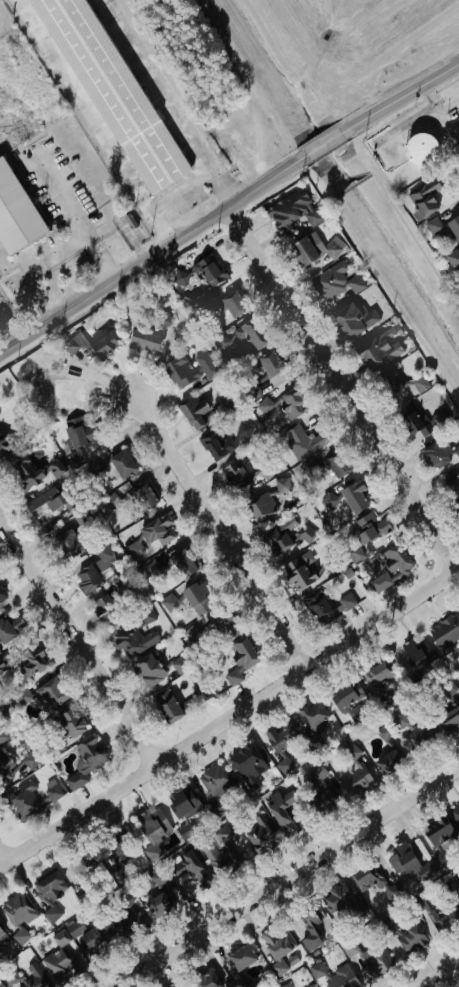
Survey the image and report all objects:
building: (115, 91)
road: (405, 94)
road: (163, 103)
road: (95, 122)
road: (322, 144)
building: (419, 149)
road: (178, 191)
building: (423, 197)
building: (292, 211)
building: (15, 213)
road: (82, 217)
building: (444, 228)
building: (301, 251)
building: (453, 258)
road: (147, 261)
building: (209, 271)
building: (335, 281)
building: (231, 304)
building: (353, 319)
building: (251, 335)
building: (145, 341)
building: (91, 344)
building: (376, 351)
building: (270, 362)
building: (205, 365)
building: (179, 371)
building: (388, 382)
building: (418, 383)
building: (70, 392)
road: (340, 392)
building: (291, 403)
building: (263, 406)
building: (193, 410)
building: (439, 418)
building: (414, 423)
building: (78, 435)
building: (302, 440)
building: (214, 445)
building: (4, 446)
building: (438, 454)
building: (122, 464)
building: (337, 464)
building: (306, 466)
building: (55, 468)
building: (26, 474)
building: (235, 475)
building: (452, 489)
building: (355, 496)
building: (142, 497)
building: (52, 500)
building: (112, 502)
building: (261, 510)
building: (81, 520)
road: (219, 523)
building: (369, 527)
building: (158, 529)
building: (307, 533)
building: (277, 541)
building: (67, 544)
building: (133, 548)
building: (354, 554)
building: (182, 563)
building: (392, 566)
building: (95, 570)
building: (298, 574)
building: (1, 594)
building: (199, 597)
building: (168, 602)
building: (319, 608)
building: (105, 610)
building: (146, 615)
building: (225, 624)
building: (10, 629)
building: (445, 633)
building: (190, 634)
building: (134, 641)
road: (78, 643)
building: (417, 654)
building: (241, 658)
building: (27, 664)
building: (2, 665)
building: (171, 665)
building: (149, 670)
building: (384, 684)
building: (49, 691)
building: (22, 697)
building: (348, 702)
building: (166, 705)
building: (313, 715)
building: (400, 720)
building: (449, 720)
road: (229, 723)
building: (66, 724)
building: (385, 732)
building: (422, 735)
building: (2, 736)
building: (281, 737)
building: (29, 761)
building: (85, 761)
building: (388, 762)
building: (249, 765)
building: (284, 765)
building: (8, 768)
building: (354, 773)
building: (216, 785)
building: (316, 791)
building: (27, 799)
building: (182, 803)
building: (282, 813)
building: (455, 813)
building: (152, 828)
building: (186, 829)
building: (221, 833)
building: (256, 834)
building: (437, 837)
building: (116, 846)
building: (231, 853)
building: (214, 857)
building: (400, 858)
road: (2, 862)
building: (79, 865)
building: (197, 870)
building: (157, 875)
building: (366, 876)
road: (291, 879)
building: (455, 885)
building: (50, 892)
building: (335, 897)
building: (158, 904)
building: (17, 907)
building: (359, 910)
building: (438, 918)
building: (124, 926)
building: (74, 927)
building: (0, 929)
building: (310, 931)
building: (410, 938)
building: (96, 940)
building: (277, 942)
building: (349, 948)
building: (239, 957)
building: (375, 960)
building: (60, 965)
building: (277, 968)
building: (335, 976)
road: (442, 976)
building: (26, 977)
building: (205, 979)
building: (1, 985)
building: (284, 985)
building: (176, 986)
building: (311, 986)

